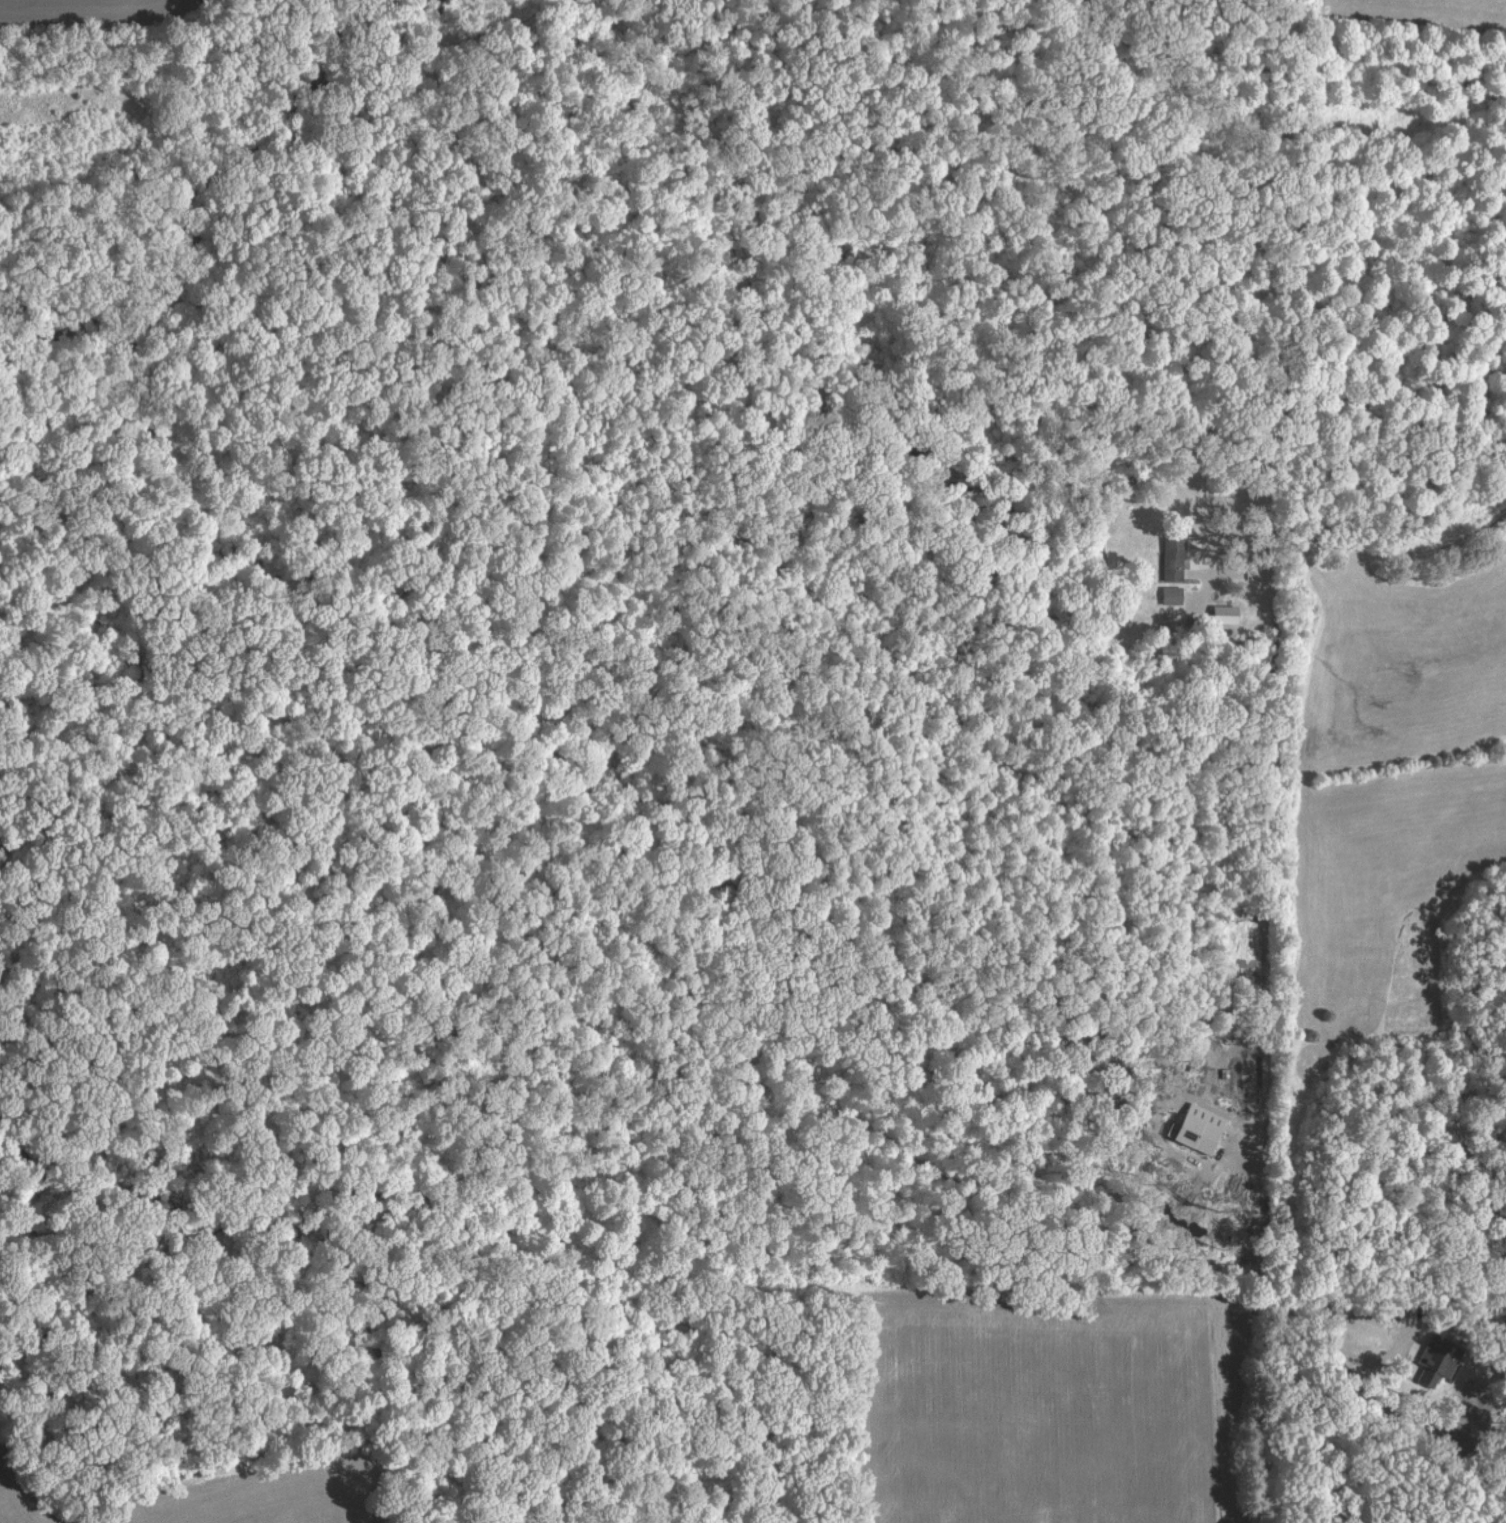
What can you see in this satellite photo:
road: (1297, 252)
road: (1396, 509)
building: (1230, 614)
road: (1243, 1427)

